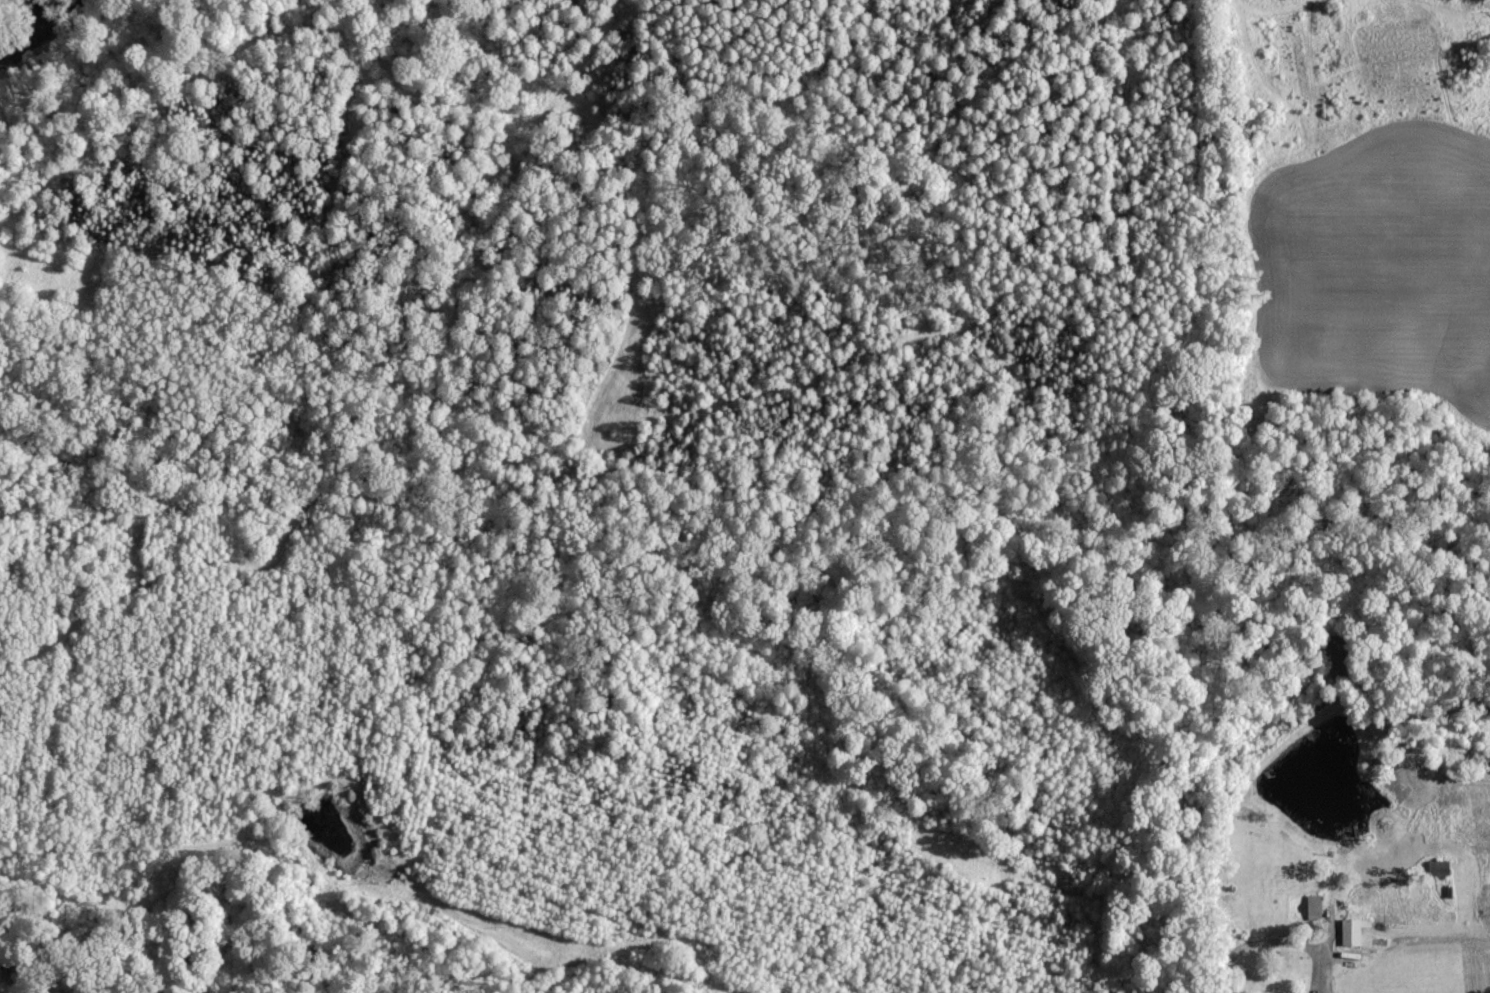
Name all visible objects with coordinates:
building: (1442, 869)
building: (1317, 908)
building: (1358, 933)
road: (1269, 943)
road: (8, 976)

